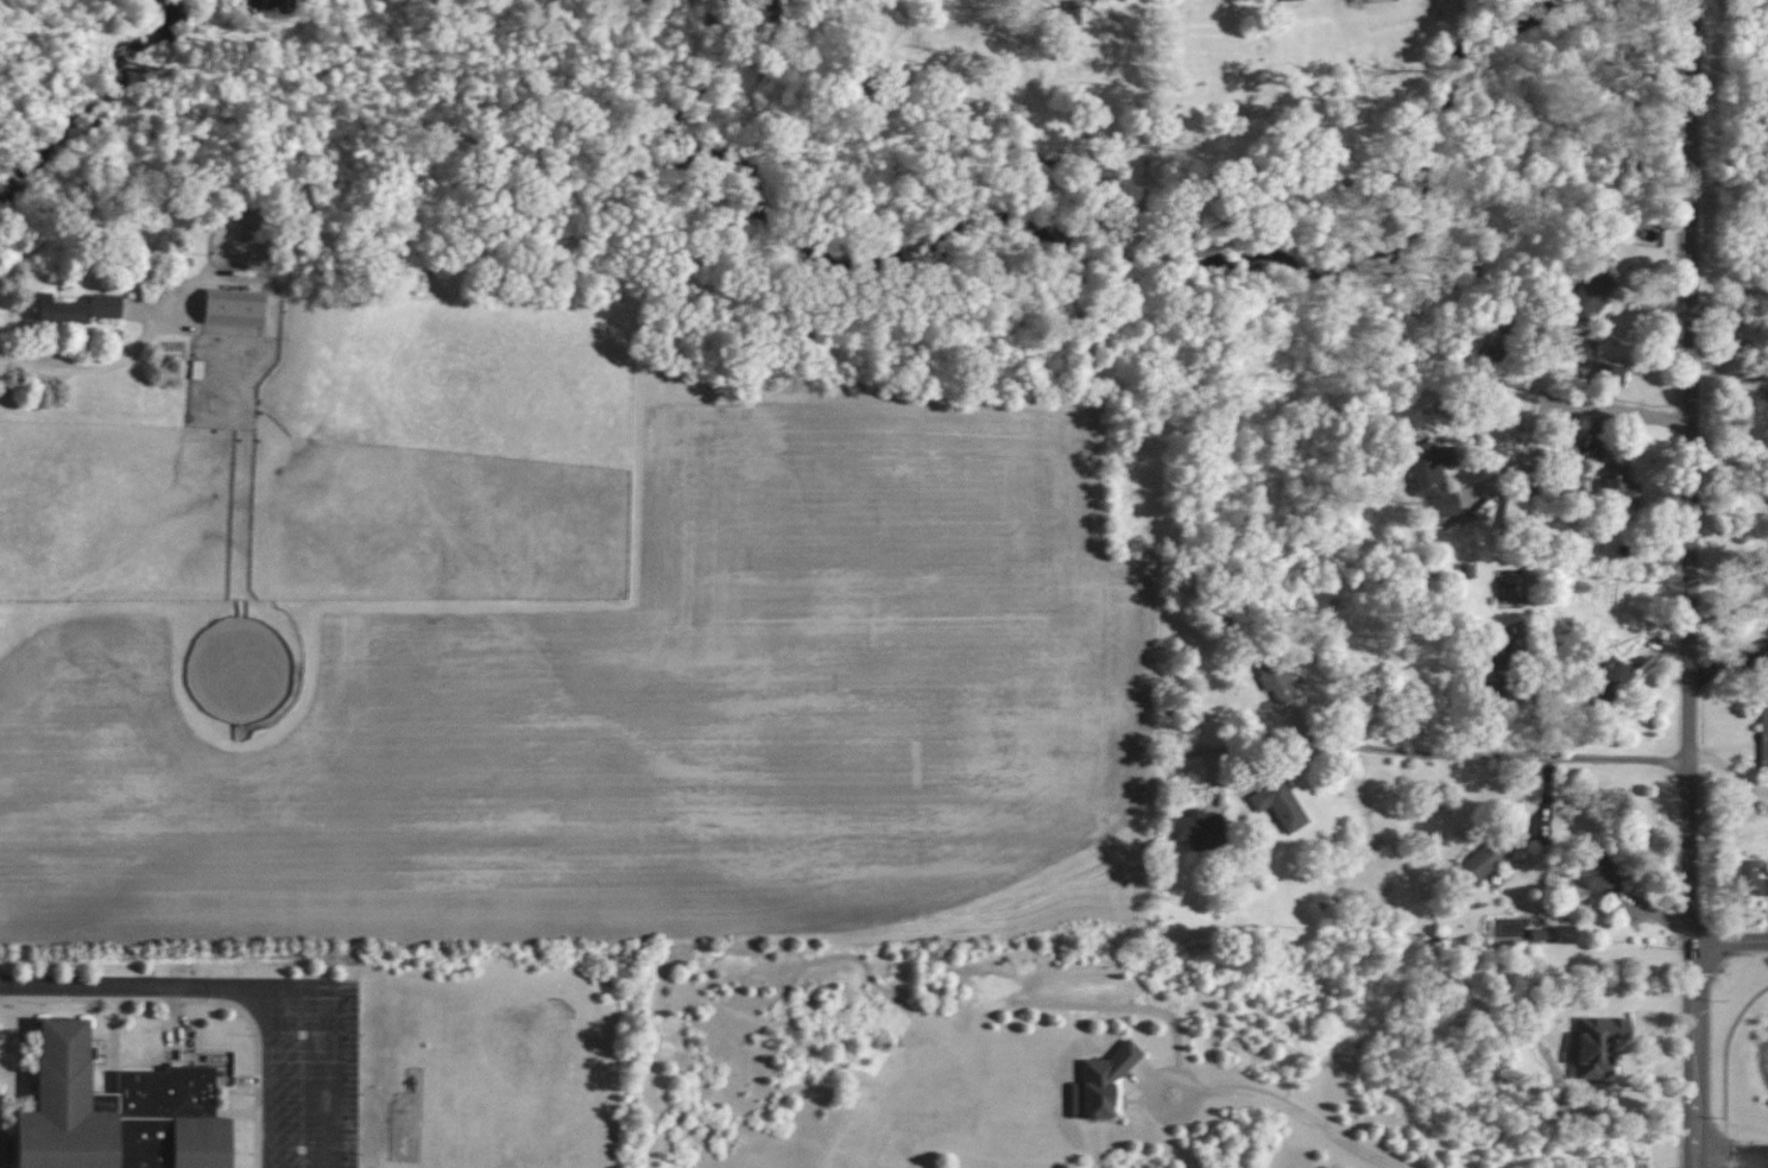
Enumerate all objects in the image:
building: (766, 10)
building: (1073, 12)
building: (1589, 296)
building: (78, 308)
building: (234, 308)
building: (1585, 347)
road: (88, 371)
building: (1611, 374)
road: (1622, 413)
road: (1521, 465)
building: (1433, 475)
building: (1617, 478)
building: (1576, 482)
building: (1517, 510)
road: (1693, 583)
building: (1273, 676)
building: (1502, 677)
building: (1610, 683)
building: (1763, 739)
road: (1467, 755)
building: (1280, 804)
building: (1201, 828)
building: (1484, 859)
building: (1598, 871)
building: (1750, 877)
building: (1565, 935)
road: (1730, 946)
road: (250, 989)
building: (1599, 1043)
road: (1725, 1052)
building: (1100, 1088)
road: (1158, 1100)
building: (116, 1112)
road: (1299, 1112)
road: (1725, 1149)
road: (1729, 1156)
road: (1763, 1162)

